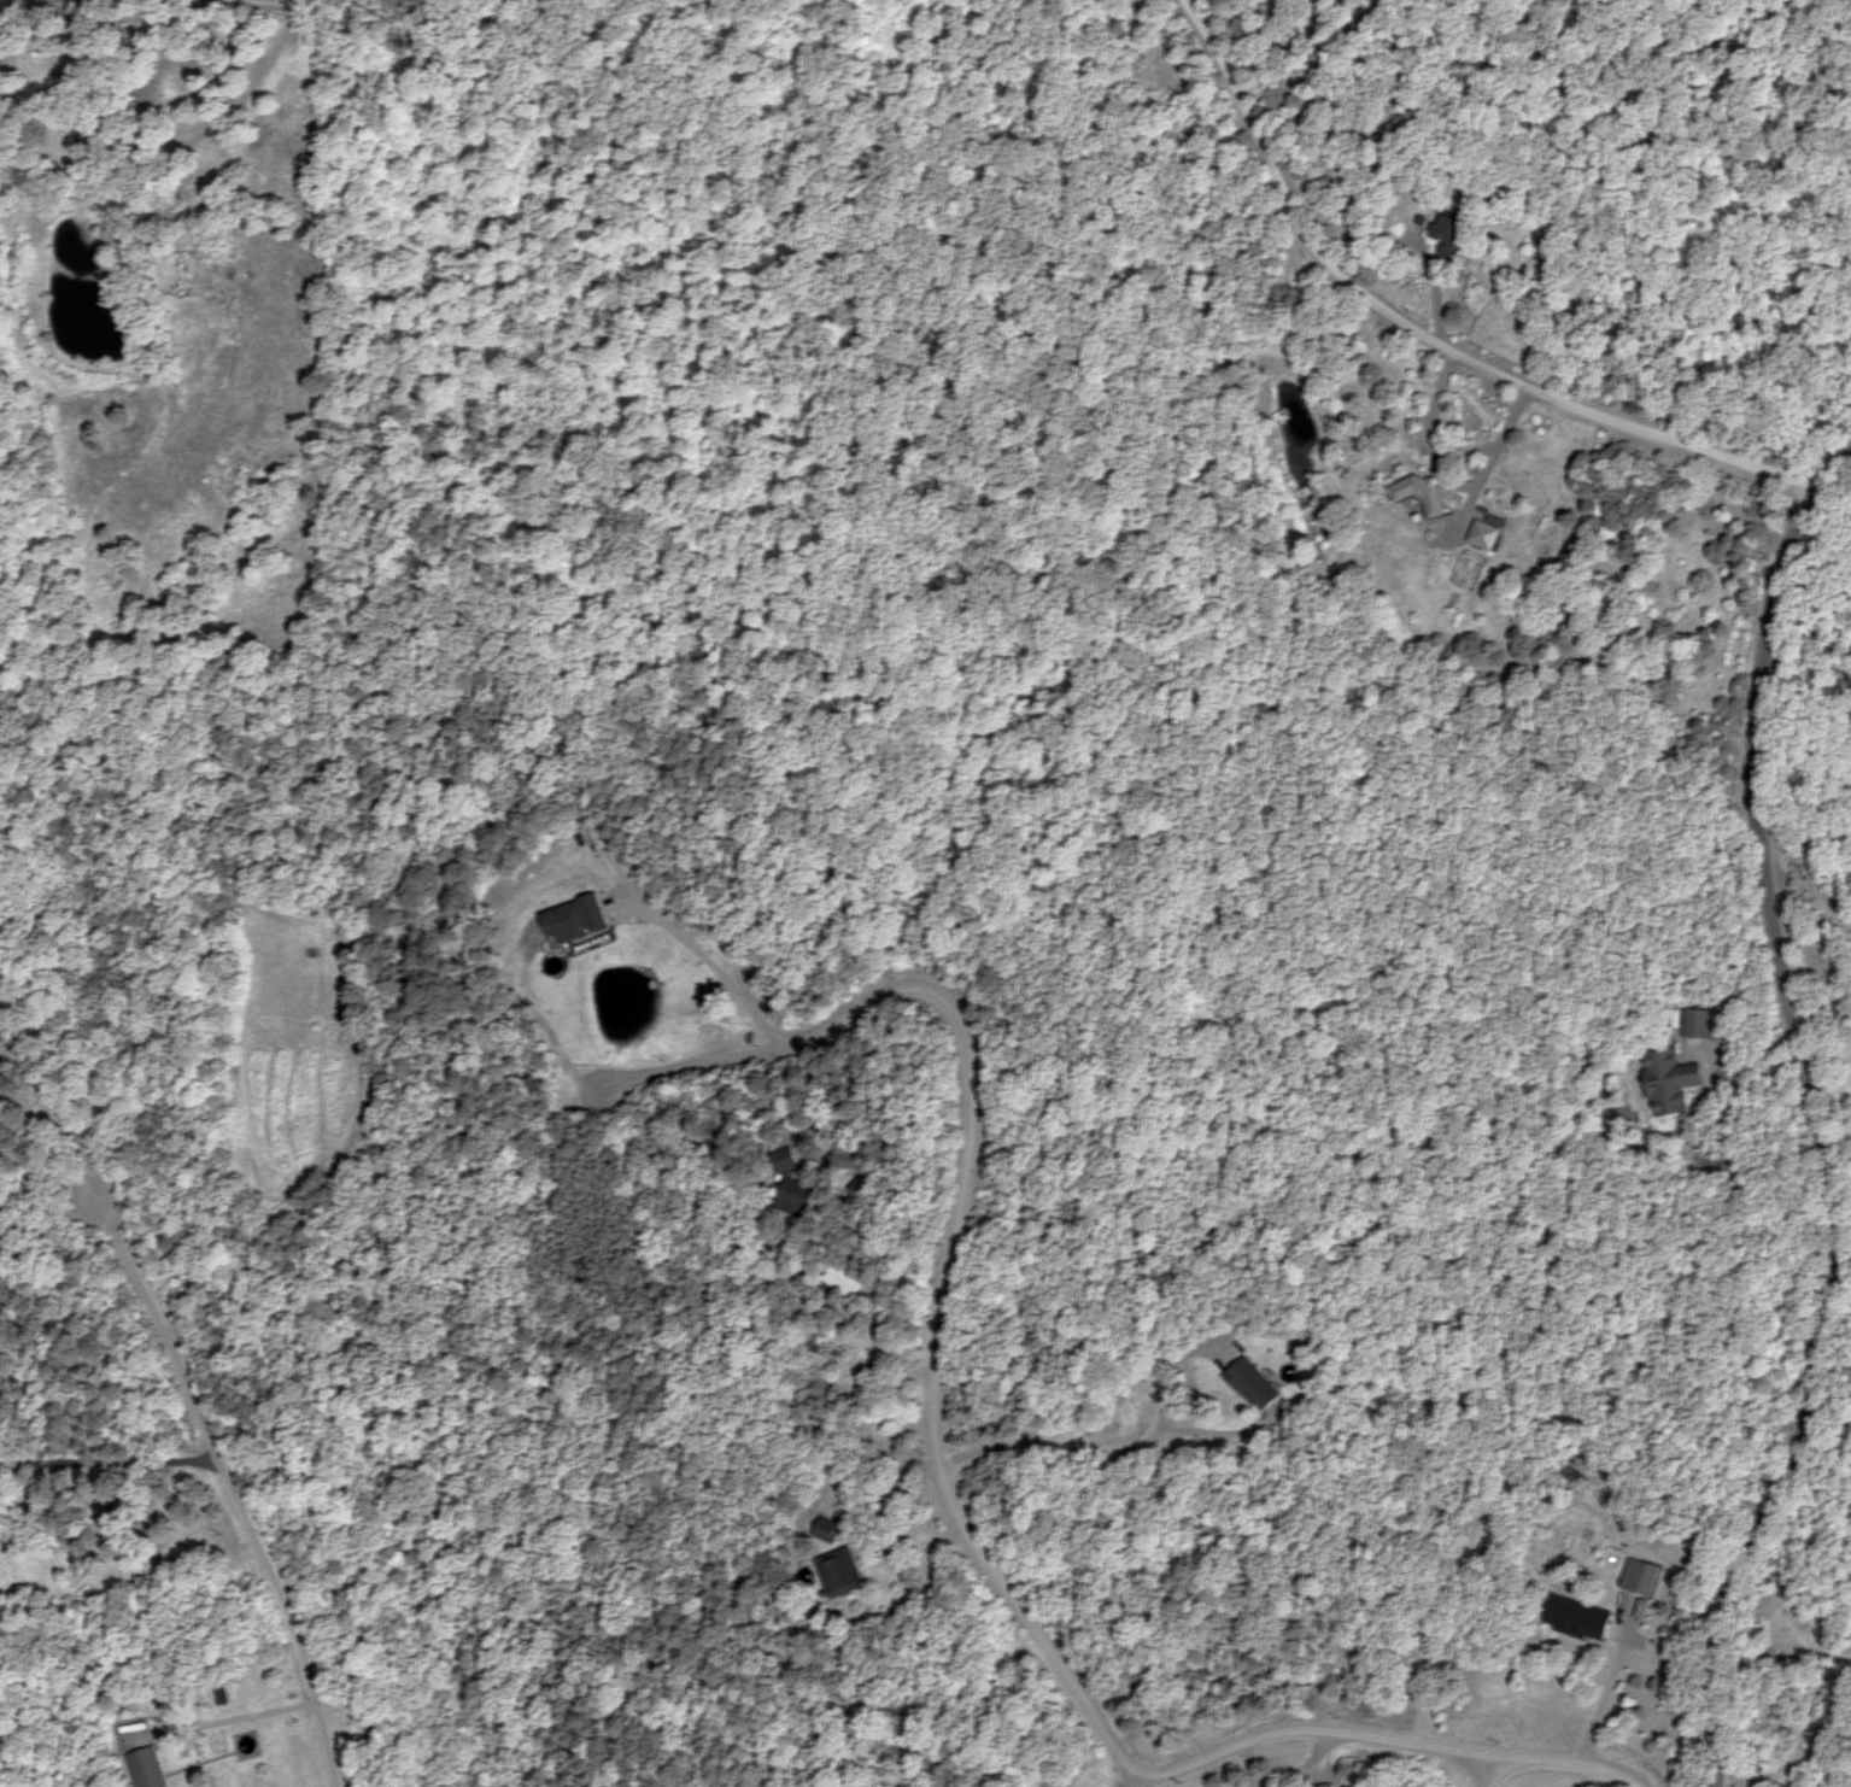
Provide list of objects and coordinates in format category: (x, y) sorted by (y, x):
road: (1337, 46)
building: (1455, 240)
road: (1427, 306)
building: (1423, 493)
building: (1487, 535)
building: (578, 921)
road: (713, 975)
building: (1699, 1023)
building: (1675, 1080)
road: (1800, 1090)
building: (789, 1159)
building: (799, 1197)
building: (848, 1279)
building: (1258, 1384)
road: (105, 1458)
road: (224, 1488)
road: (950, 1494)
building: (830, 1529)
building: (843, 1572)
building: (1642, 1576)
building: (1583, 1617)
building: (146, 1769)
road: (1484, 1773)
building: (1330, 1785)

